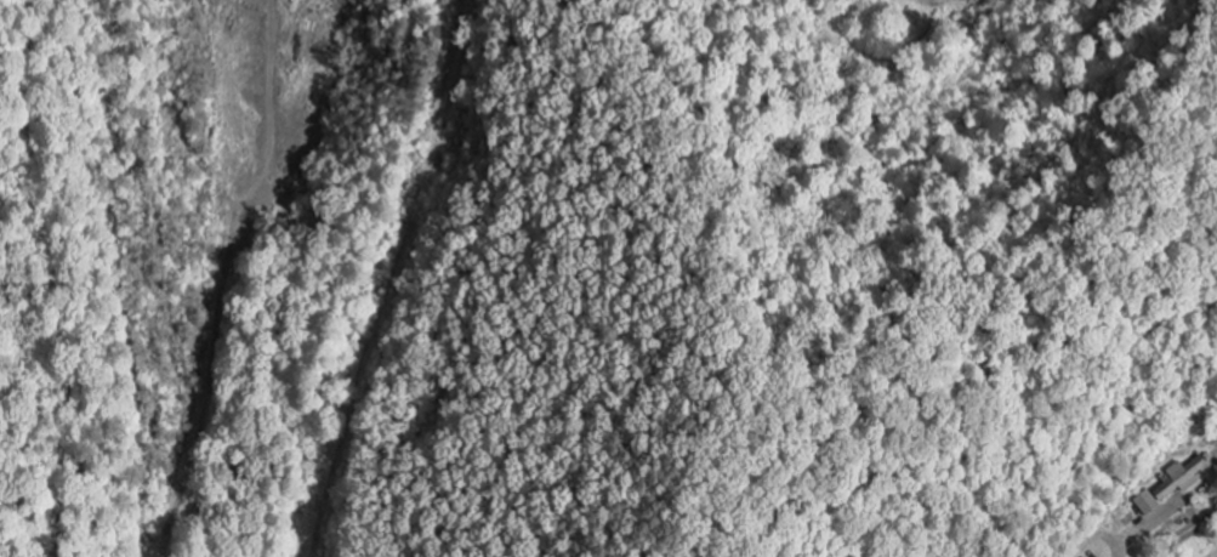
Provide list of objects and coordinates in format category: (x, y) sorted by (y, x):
building: (1170, 484)

